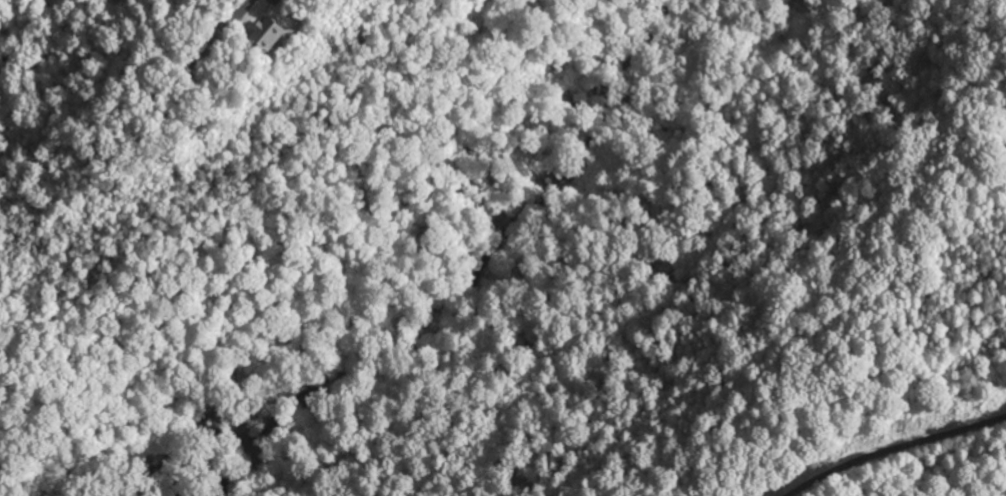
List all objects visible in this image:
road: (231, 24)
building: (264, 31)
road: (893, 450)

